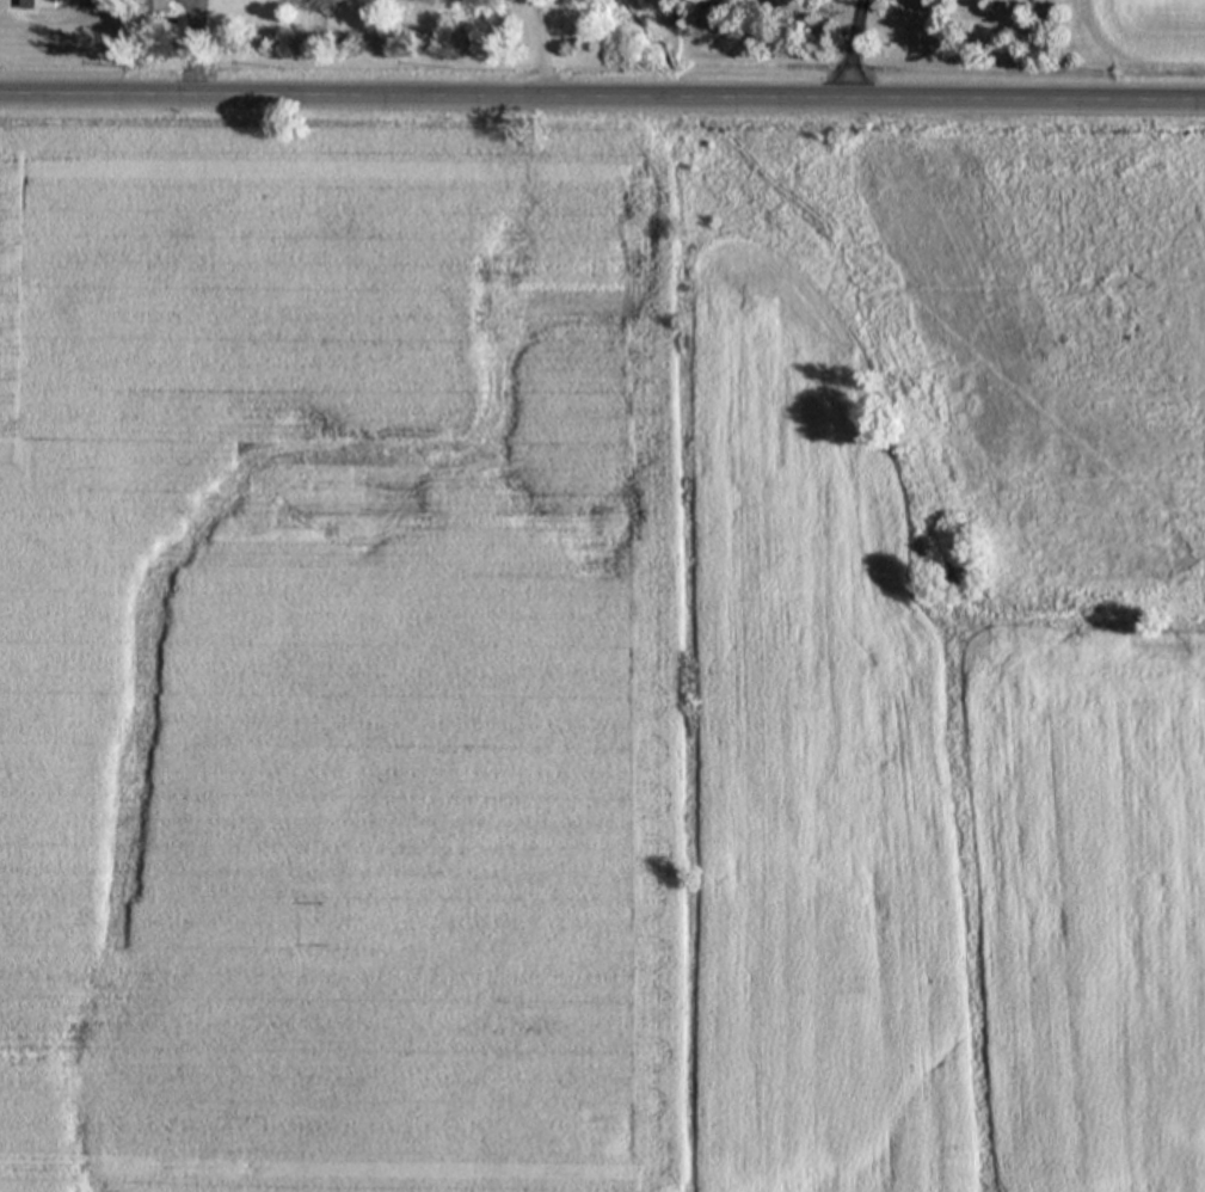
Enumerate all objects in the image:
building: (36, 5)
building: (97, 5)
building: (154, 7)
road: (43, 21)
road: (195, 48)
road: (542, 48)
road: (854, 49)
road: (602, 98)

